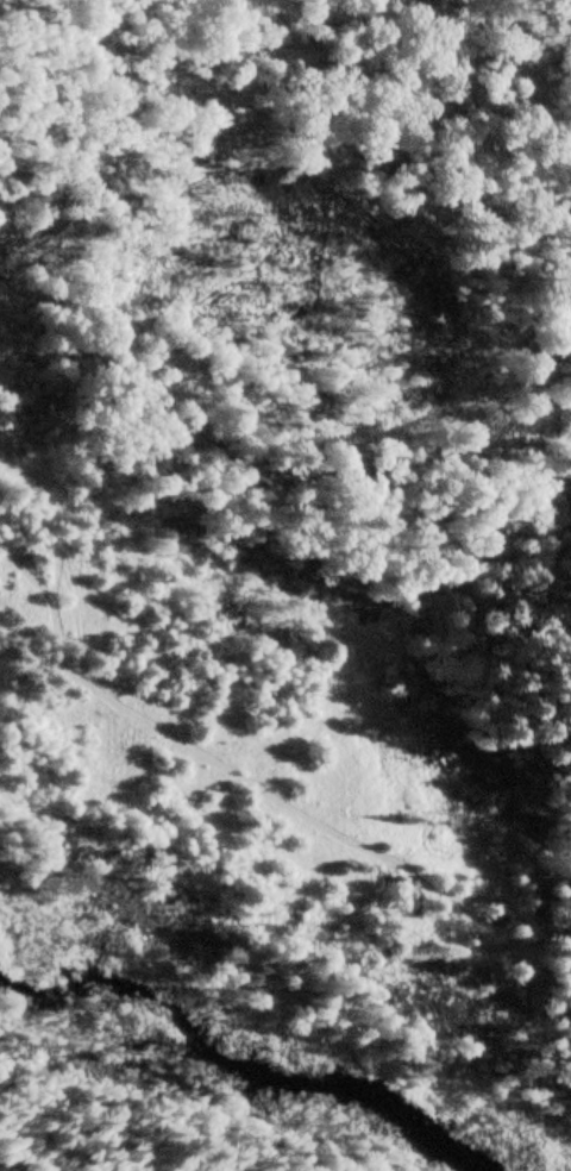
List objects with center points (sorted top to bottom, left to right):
road: (102, 157)

